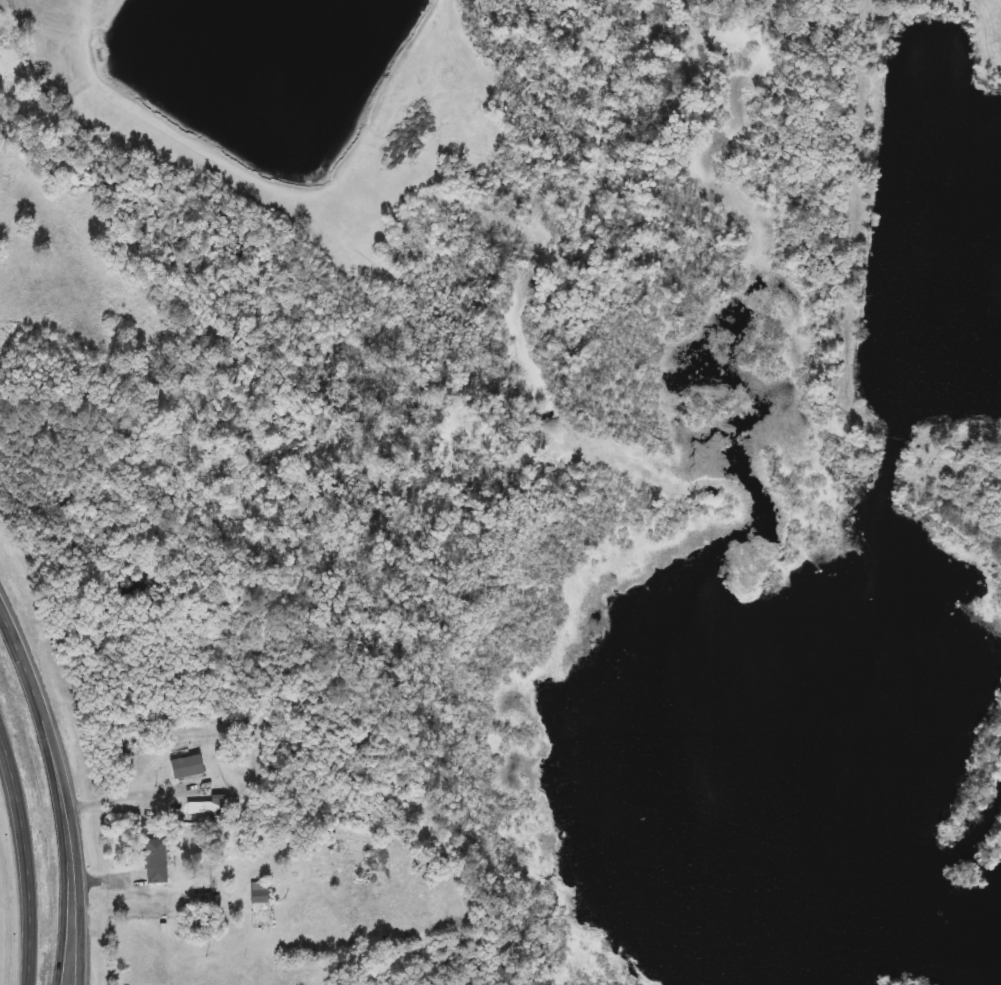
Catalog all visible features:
road: (403, 63)
road: (193, 142)
road: (17, 648)
building: (189, 768)
road: (127, 800)
building: (220, 806)
road: (75, 834)
road: (61, 835)
road: (27, 854)
building: (157, 862)
road: (108, 880)
building: (262, 893)
road: (28, 983)

